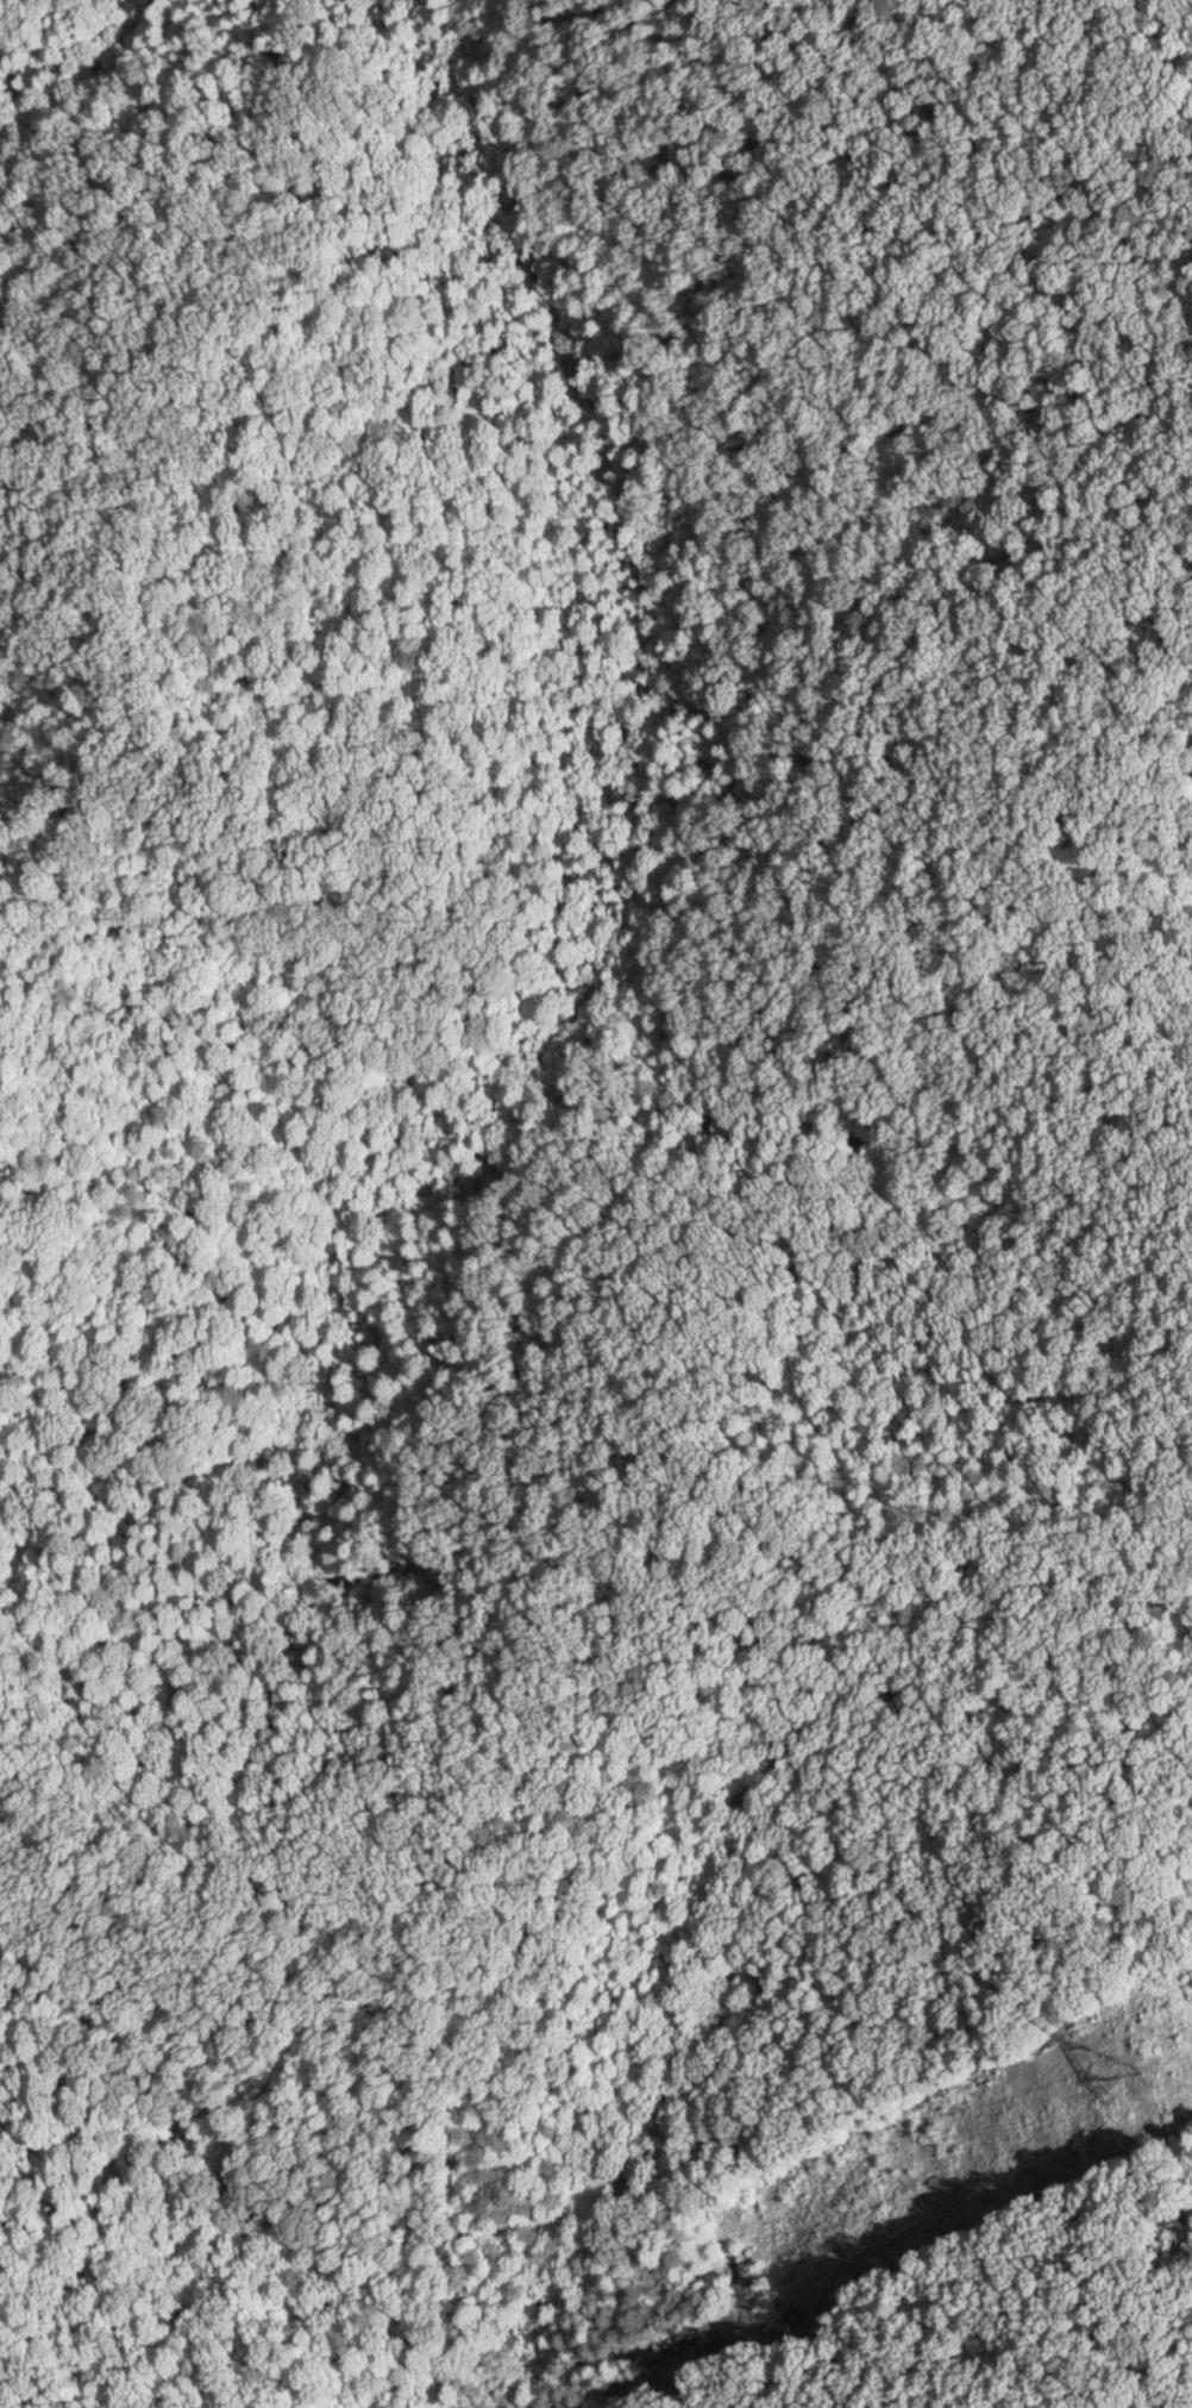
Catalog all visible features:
power tower: (1141, 2070)

